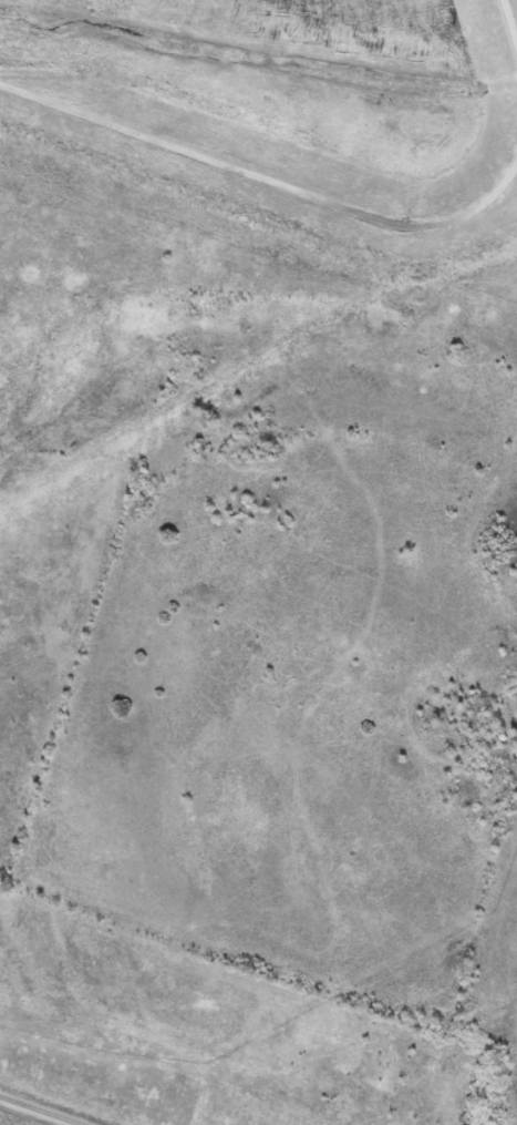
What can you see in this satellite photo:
railway: (43, 1109)

